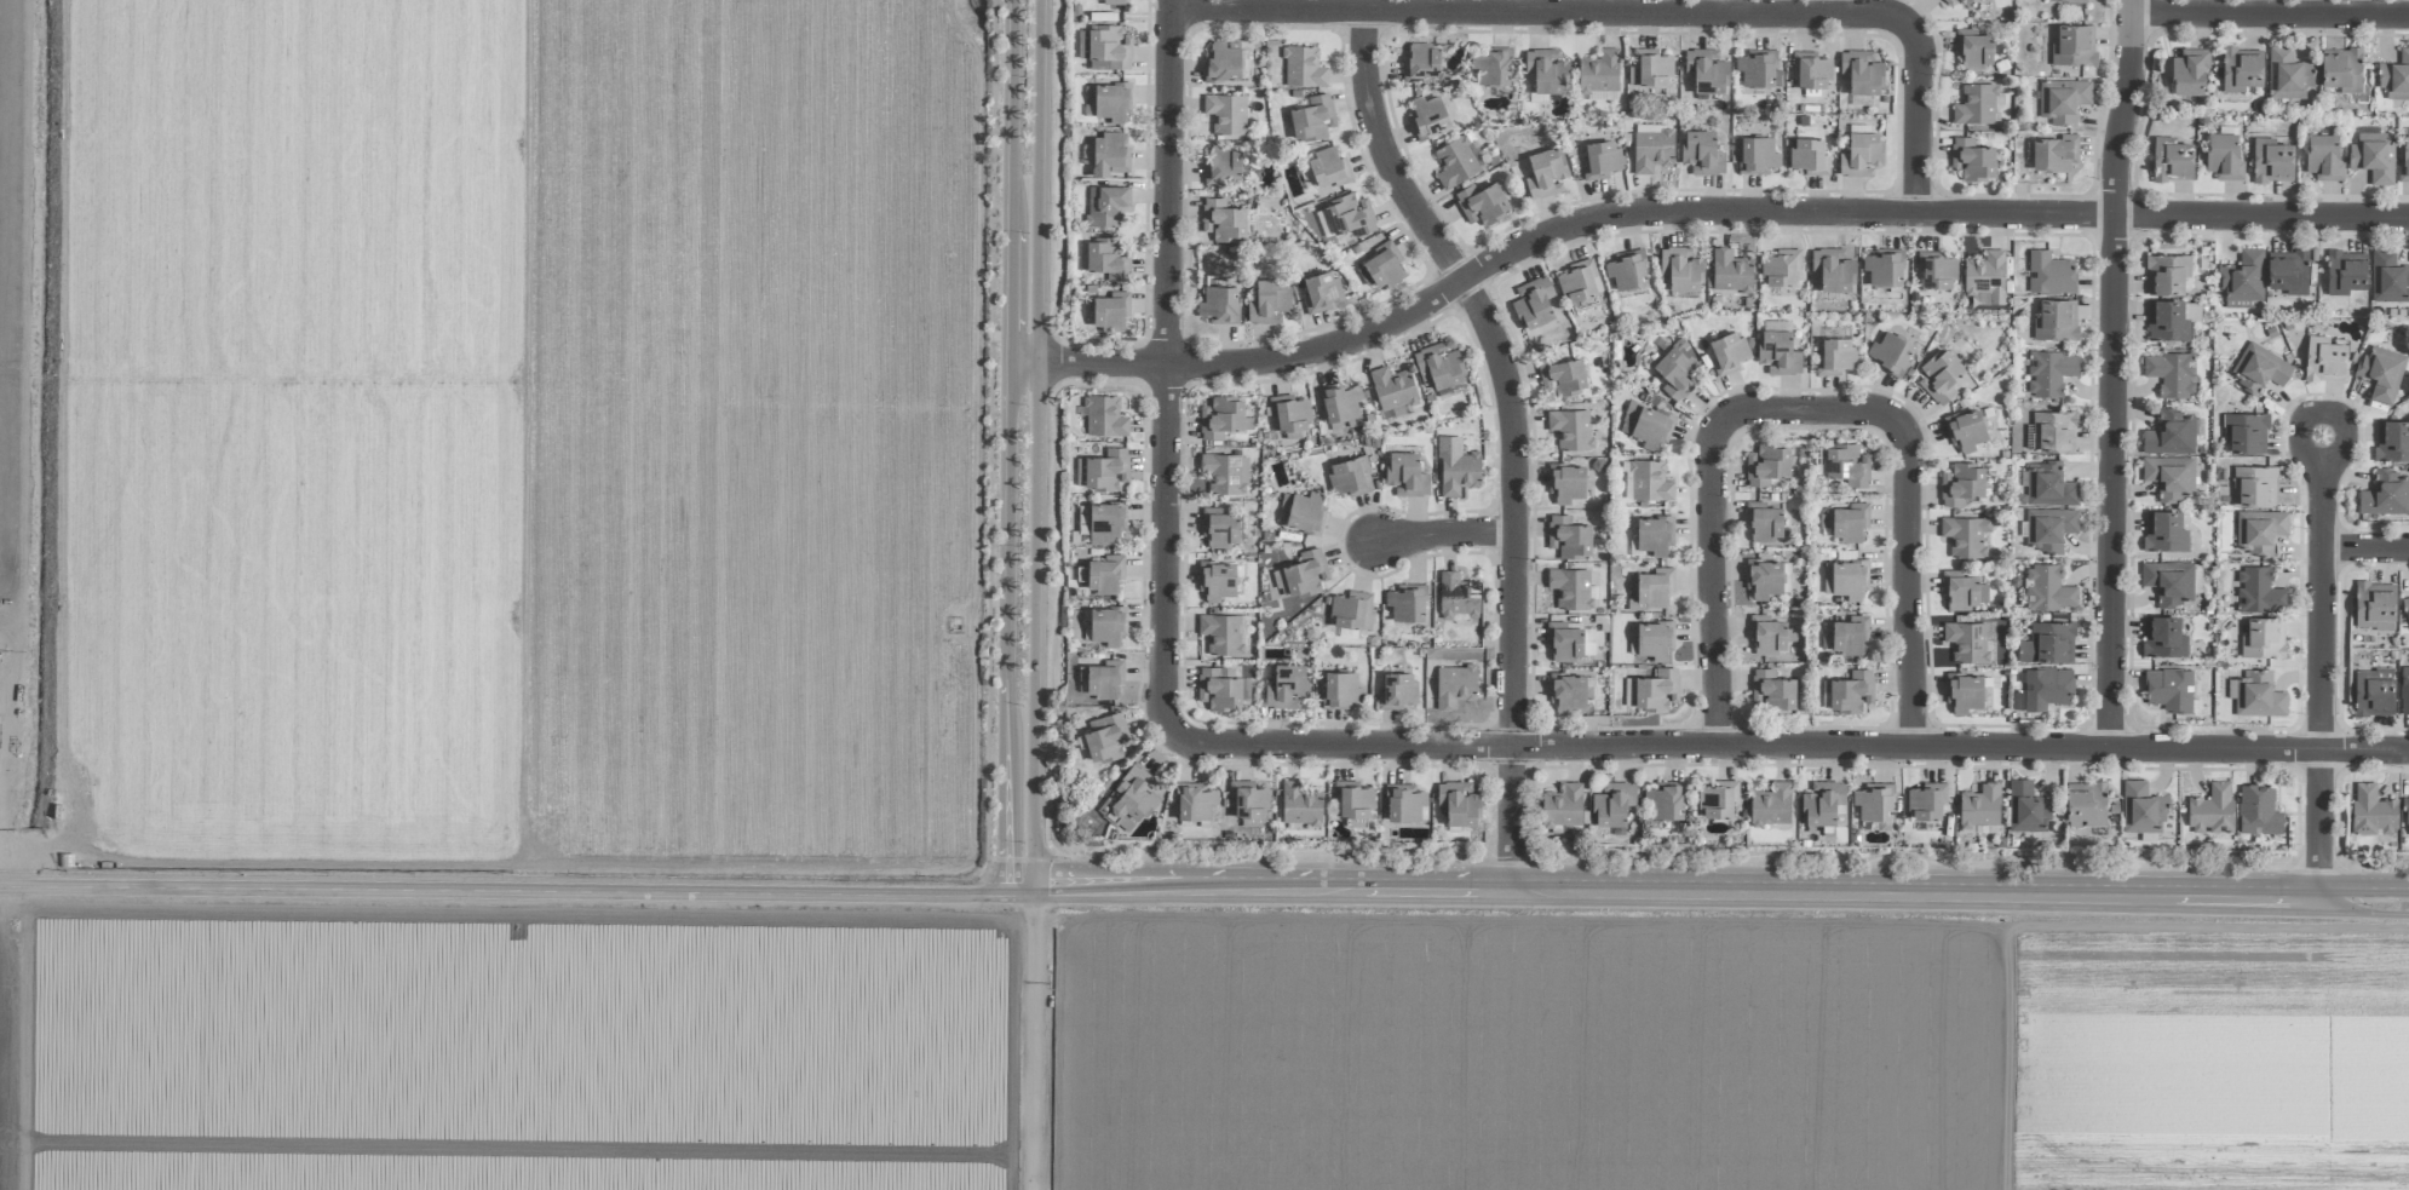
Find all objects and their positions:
building: (2068, 1)
building: (1950, 4)
road: (1638, 13)
road: (2269, 13)
building: (1106, 47)
building: (2074, 47)
building: (1973, 48)
building: (1223, 63)
building: (1421, 63)
building: (1304, 68)
building: (1650, 68)
building: (1493, 69)
building: (1757, 69)
building: (2242, 69)
building: (1811, 70)
building: (1547, 71)
building: (1707, 71)
building: (2341, 71)
building: (1862, 73)
building: (2190, 73)
building: (2289, 74)
building: (2396, 77)
building: (2063, 100)
building: (1112, 102)
building: (1978, 104)
building: (1226, 114)
building: (1427, 117)
building: (1312, 119)
building: (1702, 153)
building: (2056, 154)
building: (1109, 155)
building: (1862, 155)
building: (2374, 155)
building: (1758, 156)
building: (1809, 156)
building: (2224, 156)
building: (2324, 157)
building: (1600, 160)
building: (1972, 160)
building: (2172, 160)
building: (1458, 161)
building: (2272, 161)
building: (2404, 162)
building: (1223, 165)
building: (1328, 167)
building: (1546, 173)
building: (1482, 203)
building: (1105, 206)
building: (1351, 214)
road: (1689, 214)
building: (1223, 220)
building: (1108, 259)
building: (1381, 268)
building: (1884, 268)
building: (1680, 269)
building: (1780, 269)
building: (1627, 270)
building: (1833, 270)
building: (1936, 270)
building: (1731, 271)
building: (2288, 272)
building: (2346, 272)
building: (1985, 274)
building: (2051, 274)
building: (2167, 275)
building: (2388, 277)
building: (2243, 280)
building: (1577, 282)
building: (1321, 292)
building: (1269, 301)
building: (1536, 303)
building: (1219, 305)
building: (1110, 311)
building: (2172, 320)
building: (2054, 322)
building: (1729, 351)
building: (1780, 351)
building: (1890, 355)
building: (1835, 356)
building: (2324, 360)
building: (1438, 367)
road: (1162, 368)
building: (2259, 369)
building: (1675, 370)
building: (2049, 373)
road: (2112, 373)
building: (2172, 374)
building: (2381, 374)
building: (1564, 376)
building: (1941, 376)
building: (1393, 392)
building: (1341, 406)
road: (1813, 413)
building: (1290, 414)
building: (1104, 416)
building: (1223, 418)
building: (1646, 425)
building: (1571, 429)
building: (1966, 430)
building: (2054, 430)
building: (2246, 432)
road: (1512, 433)
building: (2173, 433)
building: (2392, 441)
road: (1036, 444)
road: (1002, 445)
building: (1767, 465)
building: (1847, 465)
building: (1456, 467)
building: (1106, 470)
building: (1225, 473)
building: (1407, 475)
building: (1350, 477)
building: (2169, 477)
building: (1650, 482)
building: (1566, 483)
building: (1962, 484)
building: (2048, 485)
building: (2255, 485)
building: (2386, 495)
building: (1304, 513)
building: (1764, 522)
building: (1846, 522)
building: (1105, 523)
building: (1220, 528)
building: (2048, 528)
building: (2259, 530)
building: (2164, 531)
road: (1441, 534)
building: (1652, 536)
building: (1965, 536)
building: (1569, 537)
road: (2367, 551)
building: (1306, 574)
building: (1104, 575)
building: (1845, 579)
building: (1217, 580)
building: (1763, 580)
building: (2168, 582)
building: (1573, 590)
building: (1960, 590)
building: (2048, 590)
building: (1650, 591)
building: (2259, 591)
building: (1458, 597)
building: (1407, 603)
building: (2375, 605)
building: (2408, 607)
building: (1352, 610)
building: (1108, 626)
building: (1225, 634)
building: (1767, 634)
building: (1849, 637)
building: (2163, 637)
building: (2263, 639)
building: (1651, 640)
building: (1564, 642)
building: (1588, 642)
building: (1966, 642)
building: (2047, 643)
road: (2324, 667)
building: (1454, 685)
building: (1287, 686)
building: (2047, 688)
building: (1218, 689)
building: (1772, 689)
building: (1246, 690)
building: (1652, 690)
building: (2169, 690)
building: (2405, 690)
building: (1341, 691)
building: (1397, 691)
building: (1850, 691)
building: (1568, 692)
building: (1964, 692)
building: (2374, 692)
building: (2256, 695)
crop: (788, 709)
building: (1105, 740)
road: (1792, 745)
building: (1129, 799)
building: (1249, 800)
building: (1717, 800)
building: (1353, 801)
building: (1666, 801)
building: (1925, 801)
building: (1195, 803)
building: (1405, 803)
building: (1459, 804)
building: (1612, 804)
building: (1823, 804)
building: (1300, 805)
building: (1771, 805)
building: (1875, 805)
building: (2086, 805)
building: (1563, 806)
building: (2026, 807)
building: (2141, 809)
building: (1980, 810)
building: (2212, 810)
building: (2258, 811)
building: (2373, 811)
building: (2407, 817)
road: (516, 889)
road: (1720, 892)
road: (1033, 1040)

